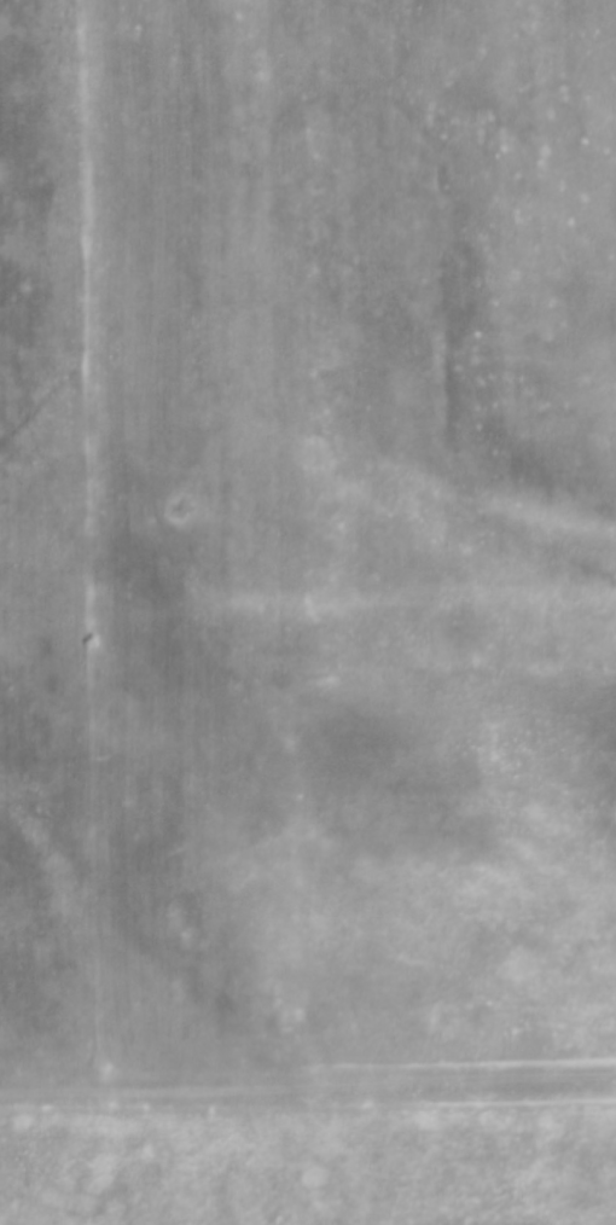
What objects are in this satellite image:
road: (69, 591)

